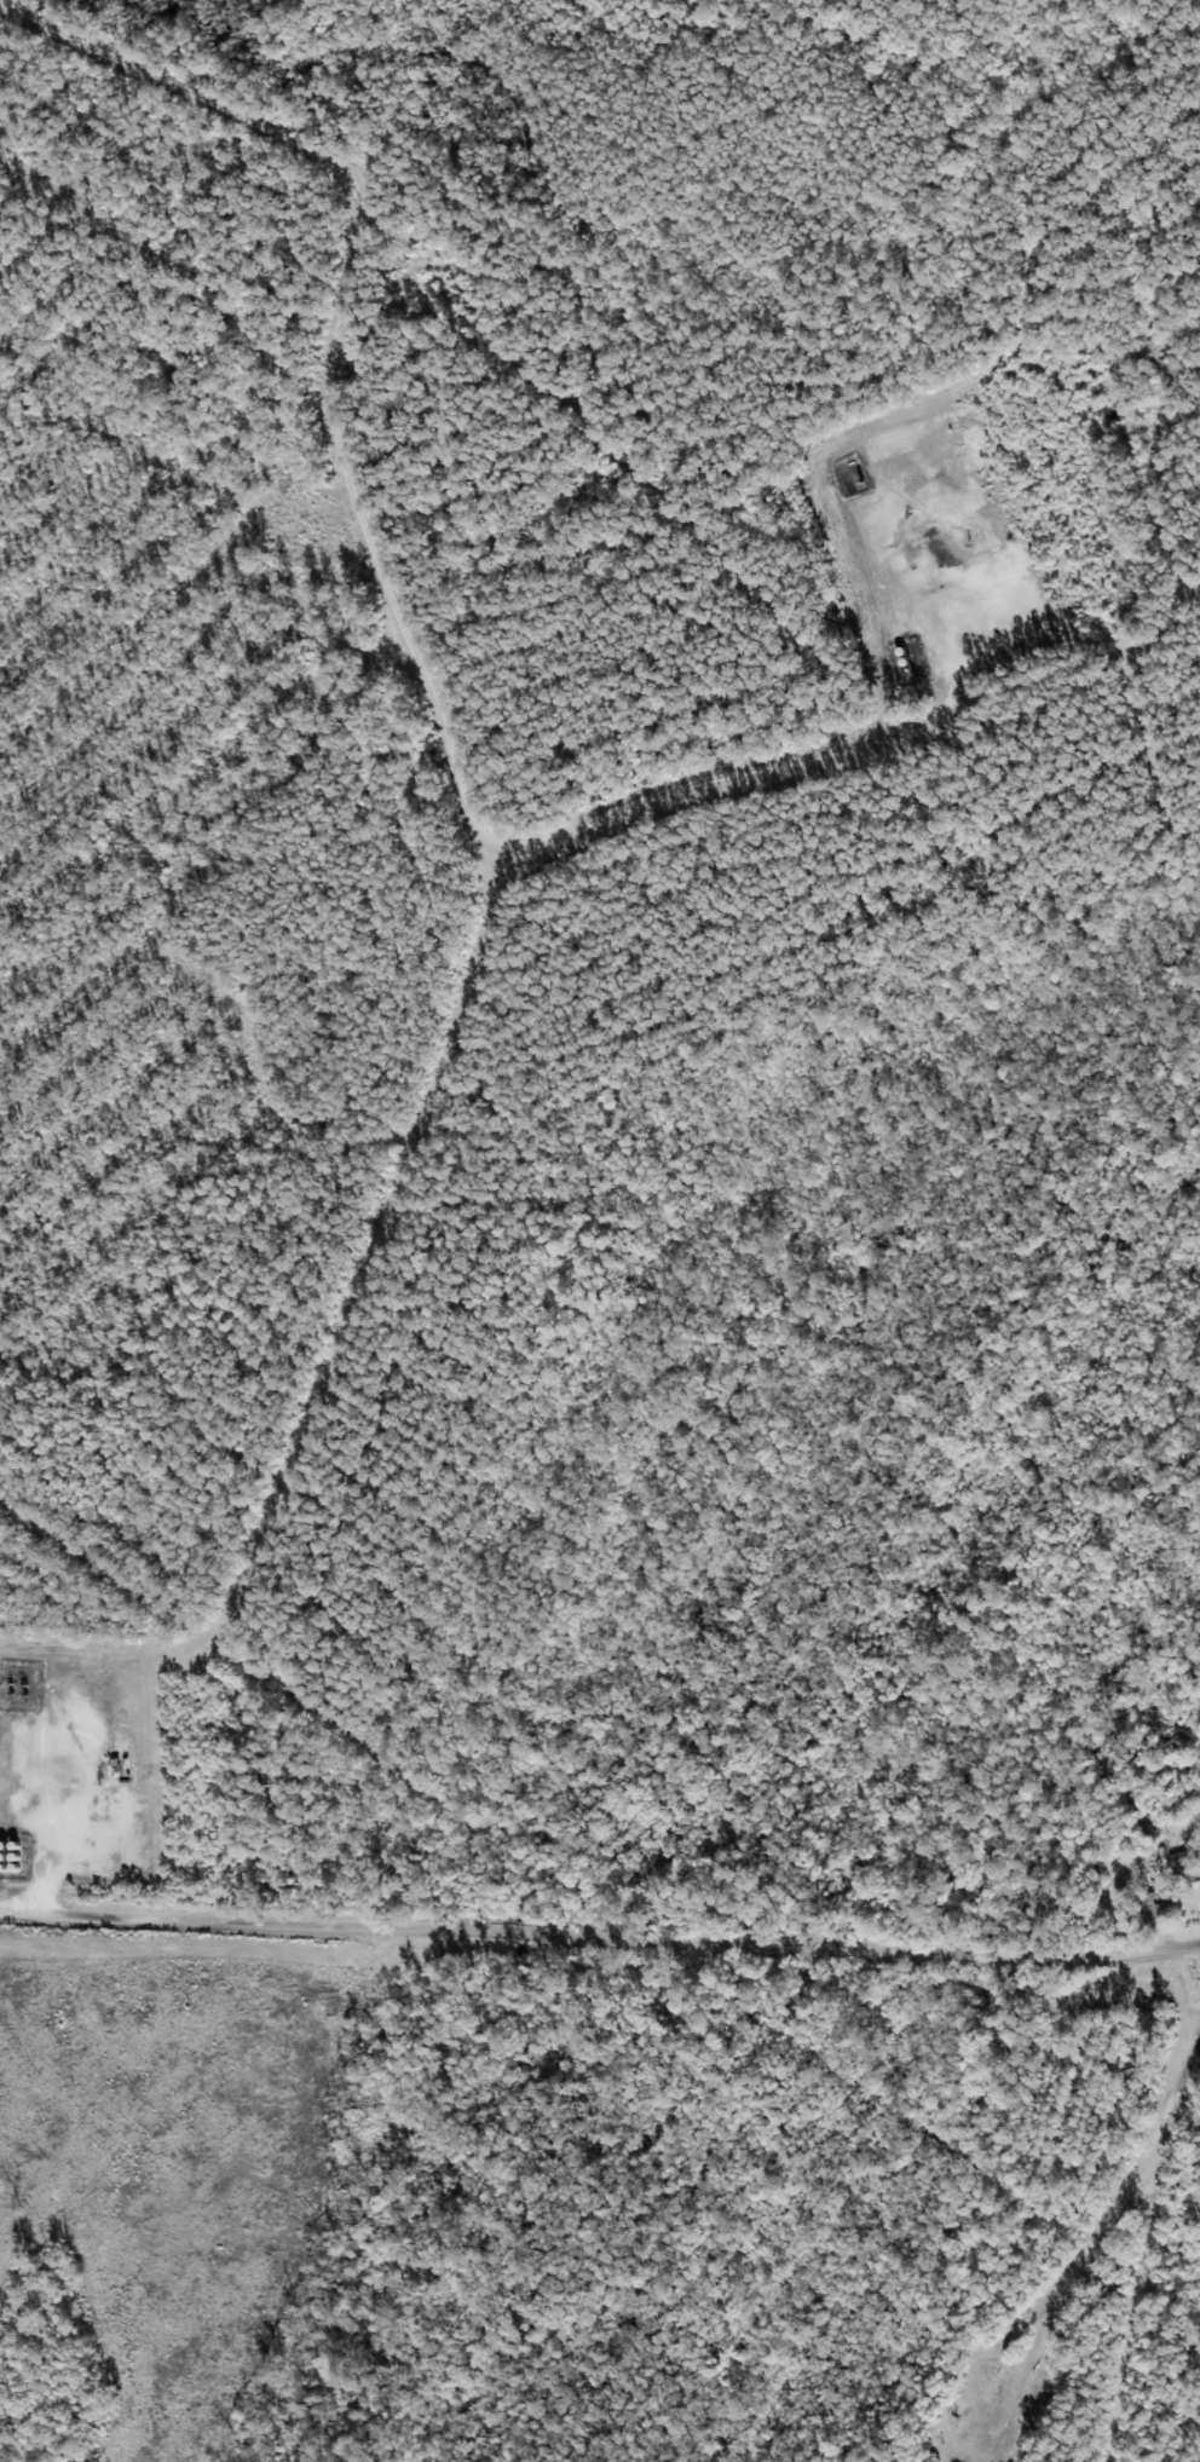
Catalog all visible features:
building: (1173, 1860)
road: (600, 1965)
road: (1140, 2284)

